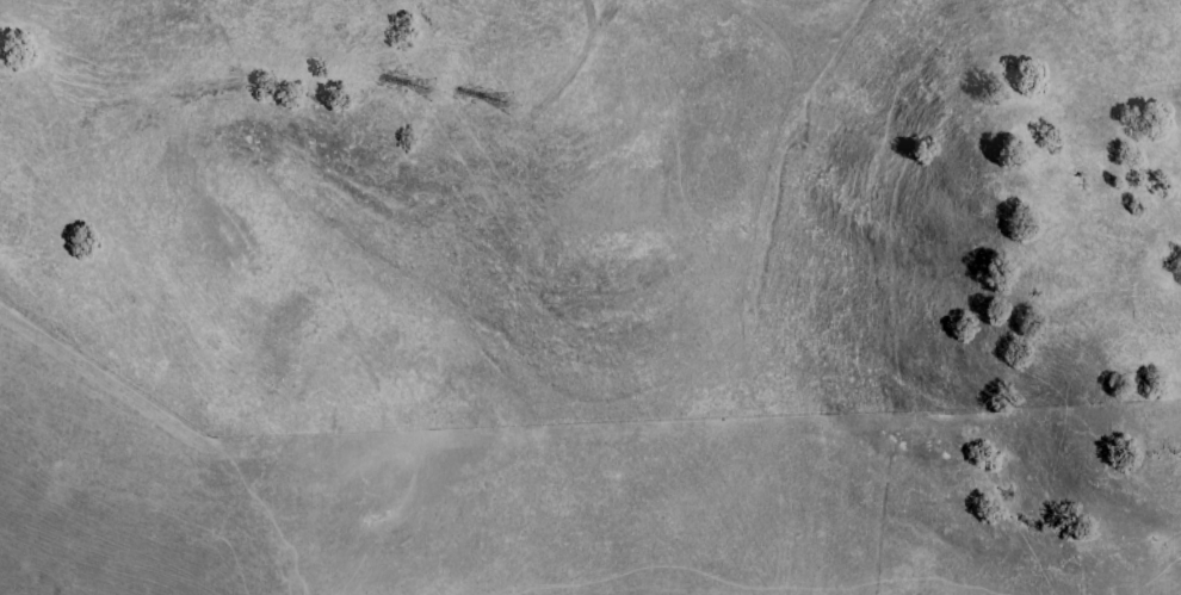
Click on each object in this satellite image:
power tower: (503, 87)
power tower: (443, 93)
park: (598, 210)

